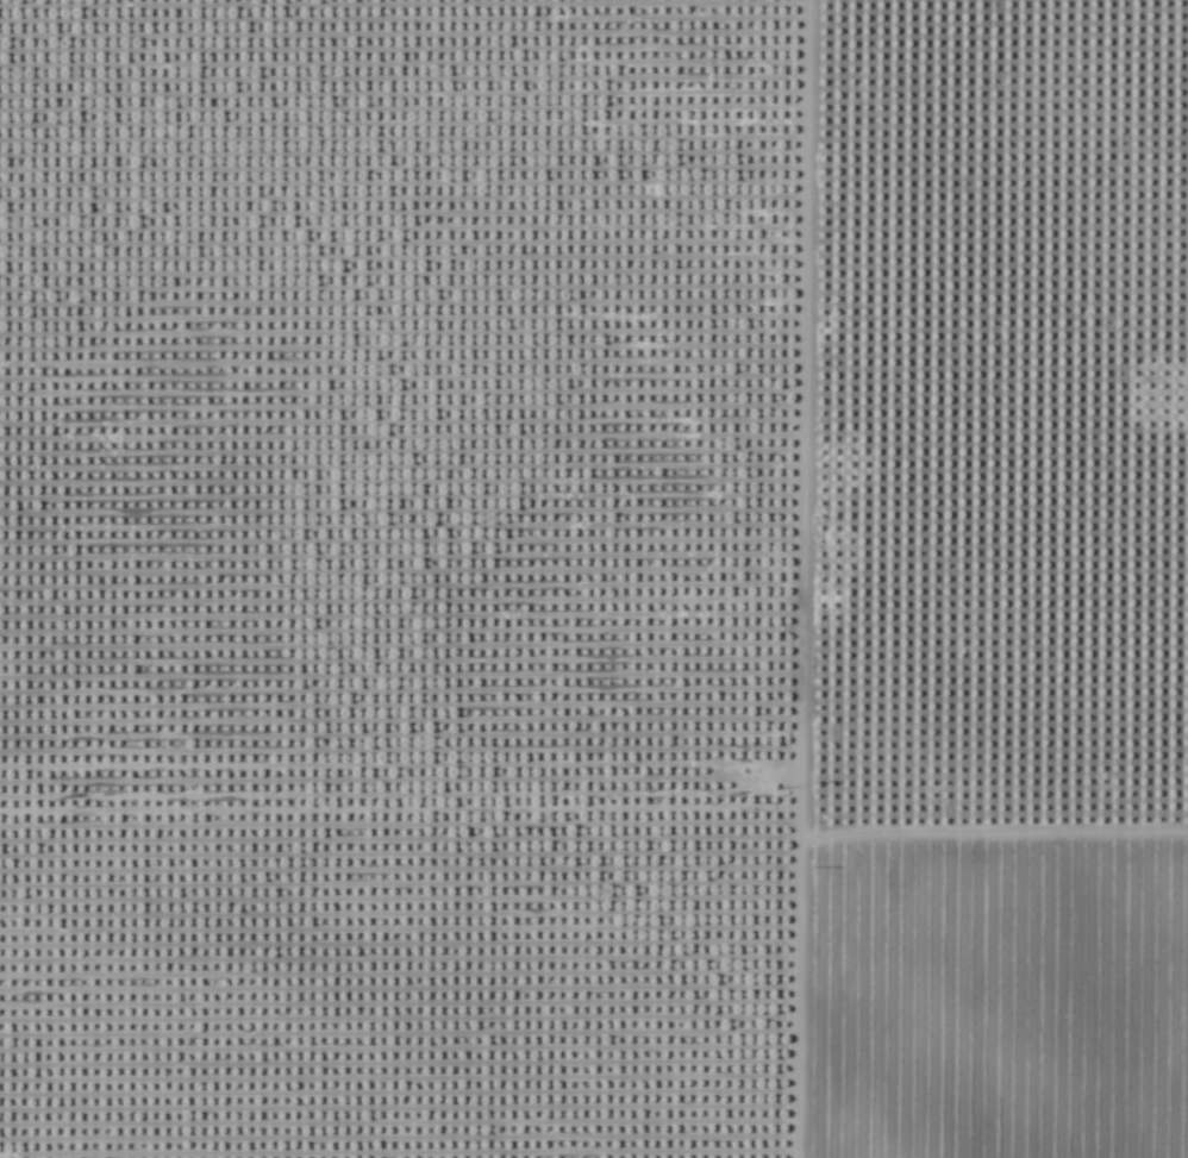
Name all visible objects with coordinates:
road: (773, 578)

